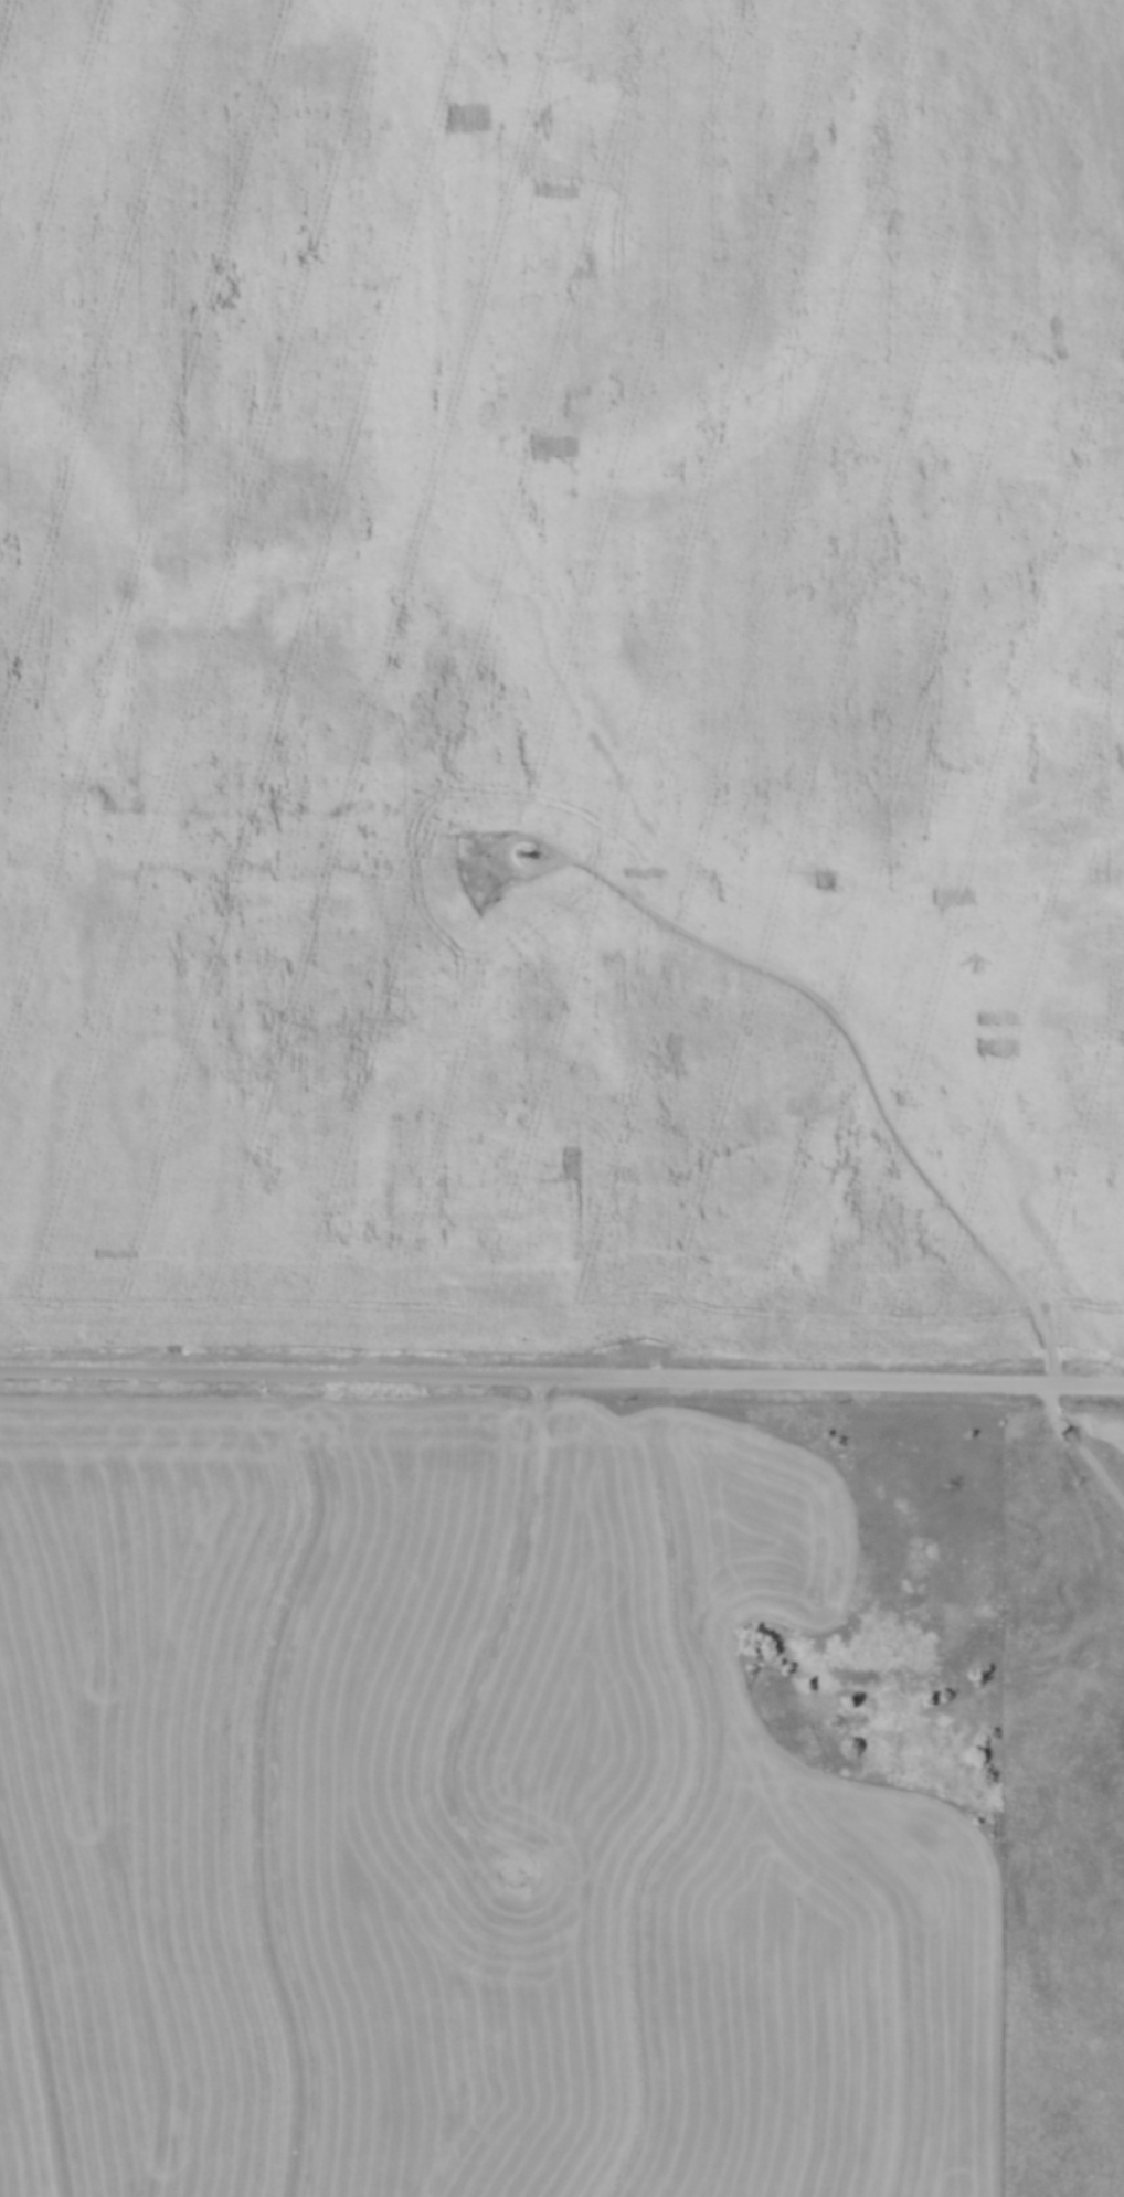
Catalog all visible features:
road: (562, 1373)

